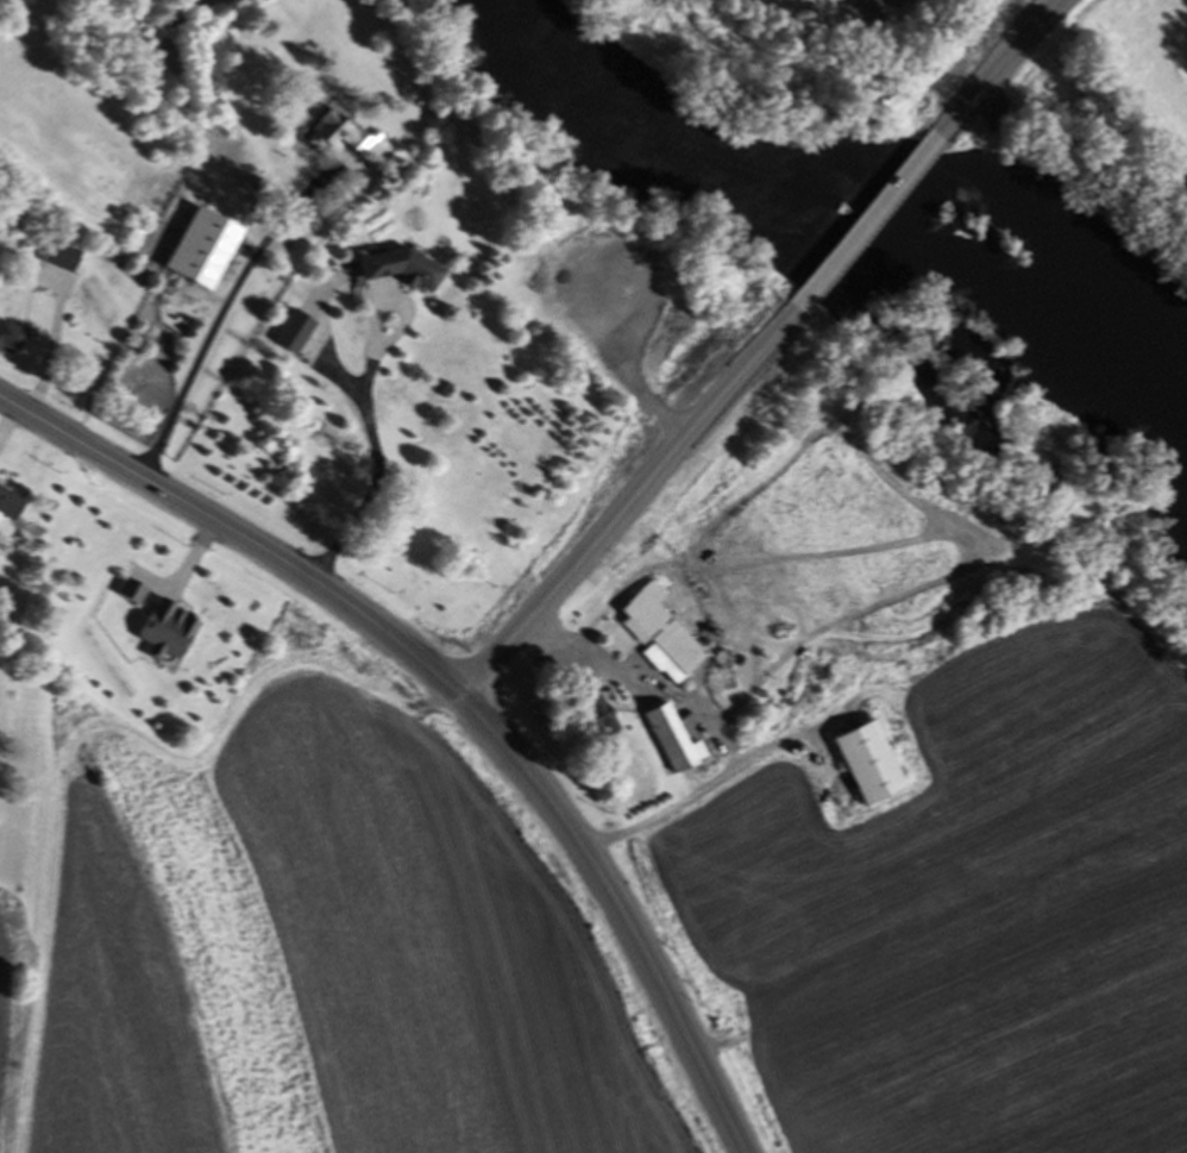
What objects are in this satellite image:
building: (169, 61)
road: (1001, 65)
building: (343, 139)
river: (868, 206)
road: (867, 221)
building: (59, 258)
building: (403, 271)
road: (222, 317)
building: (294, 334)
building: (8, 341)
road: (369, 409)
road: (627, 502)
building: (8, 507)
road: (238, 534)
building: (130, 596)
building: (2, 614)
building: (165, 635)
building: (658, 638)
building: (595, 719)
road: (703, 723)
building: (672, 742)
building: (868, 765)
road: (624, 910)

